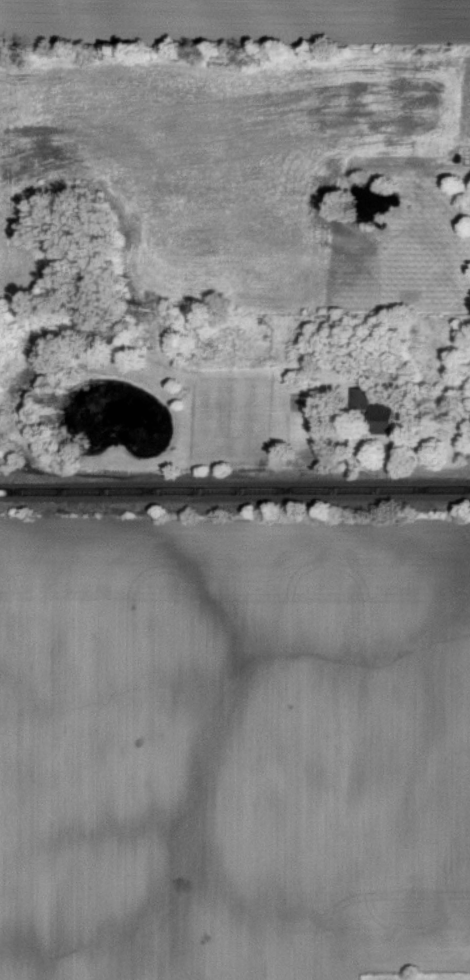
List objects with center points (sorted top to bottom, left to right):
building: (382, 409)
railway: (234, 489)
road: (341, 492)

